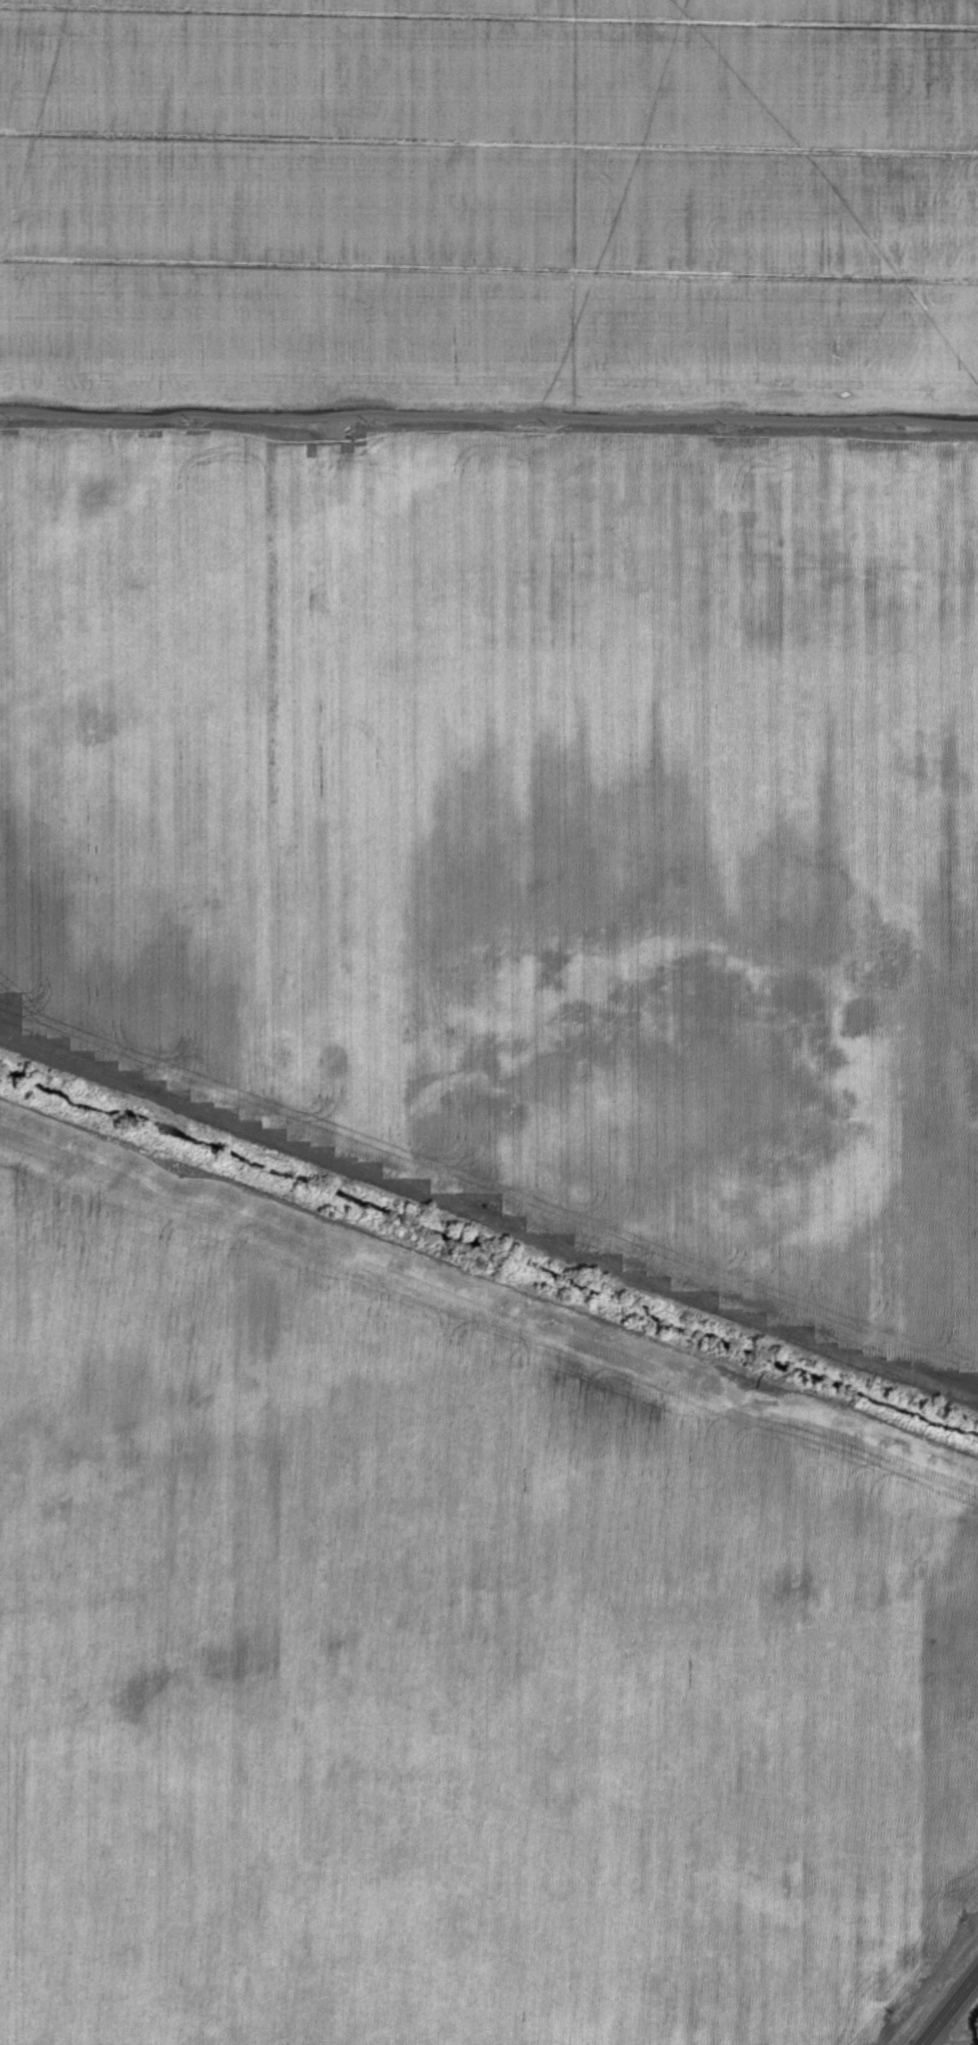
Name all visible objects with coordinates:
road: (949, 2008)

